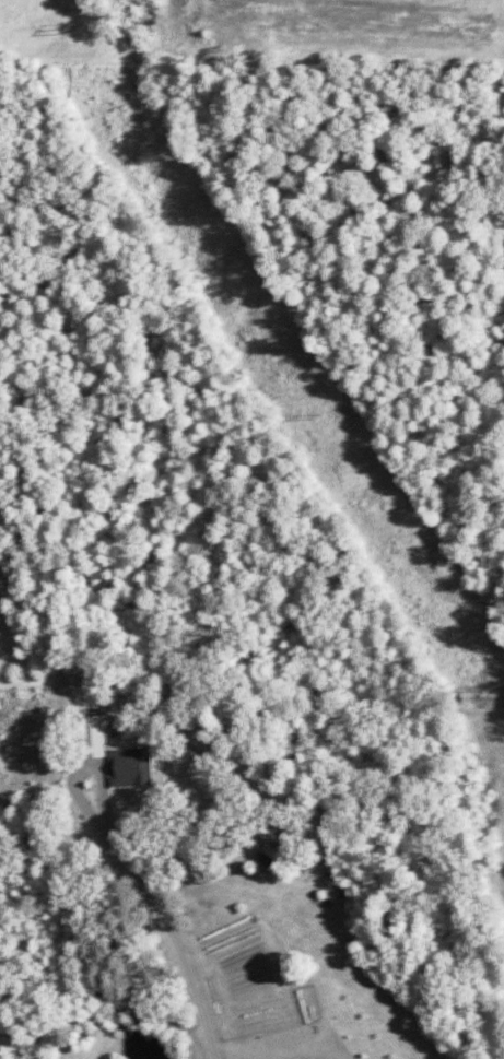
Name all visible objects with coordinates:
building: (93, 734)
building: (129, 767)
road: (97, 824)
building: (269, 856)
road: (199, 1005)

